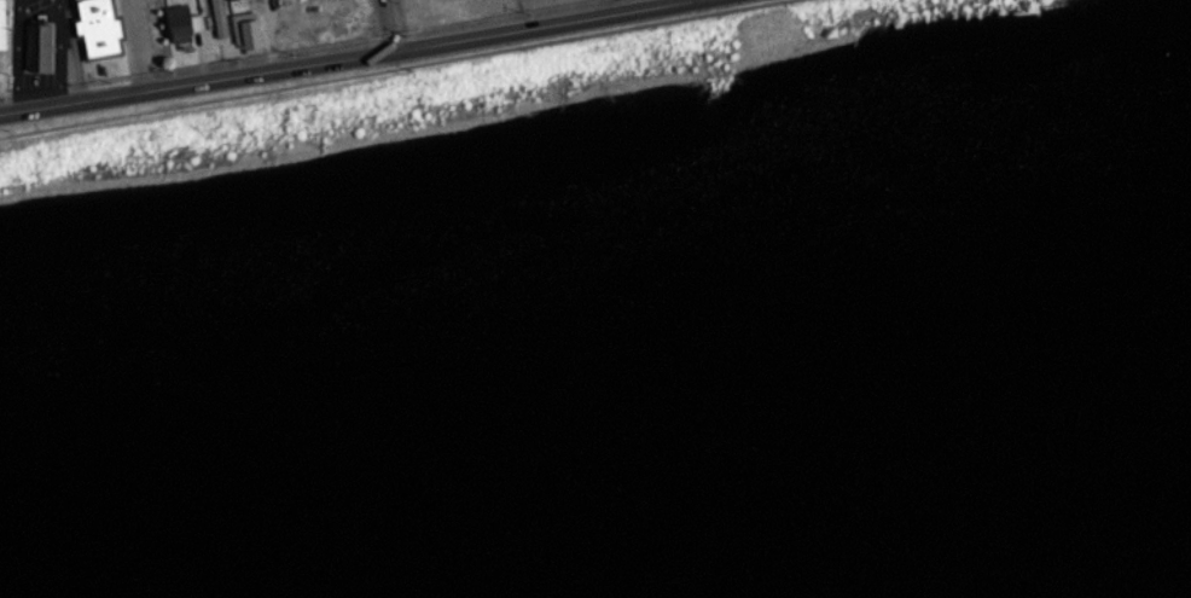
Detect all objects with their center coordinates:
building: (219, 18)
road: (385, 21)
building: (174, 22)
building: (1, 23)
building: (94, 27)
building: (245, 31)
building: (37, 46)
road: (345, 50)
road: (388, 68)
river: (598, 443)

